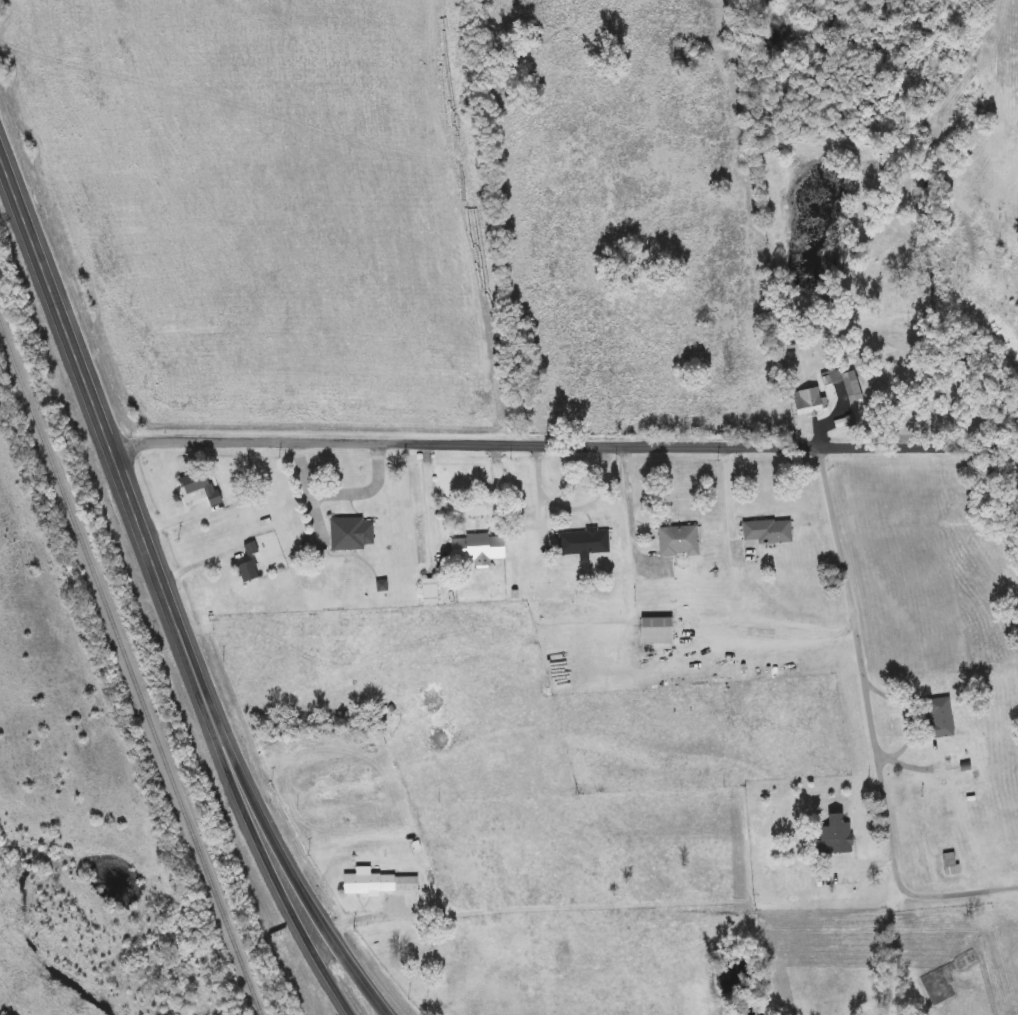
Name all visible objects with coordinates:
building: (852, 385)
building: (811, 402)
road: (106, 434)
road: (564, 444)
building: (204, 488)
road: (541, 491)
road: (595, 500)
road: (631, 500)
road: (430, 501)
road: (494, 505)
building: (768, 532)
building: (353, 534)
building: (680, 541)
building: (585, 543)
building: (252, 548)
building: (478, 549)
building: (250, 571)
building: (659, 630)
railway: (131, 666)
building: (942, 718)
road: (874, 724)
building: (838, 836)
building: (952, 864)
road: (270, 872)
road: (291, 872)
building: (383, 884)
building: (945, 979)

